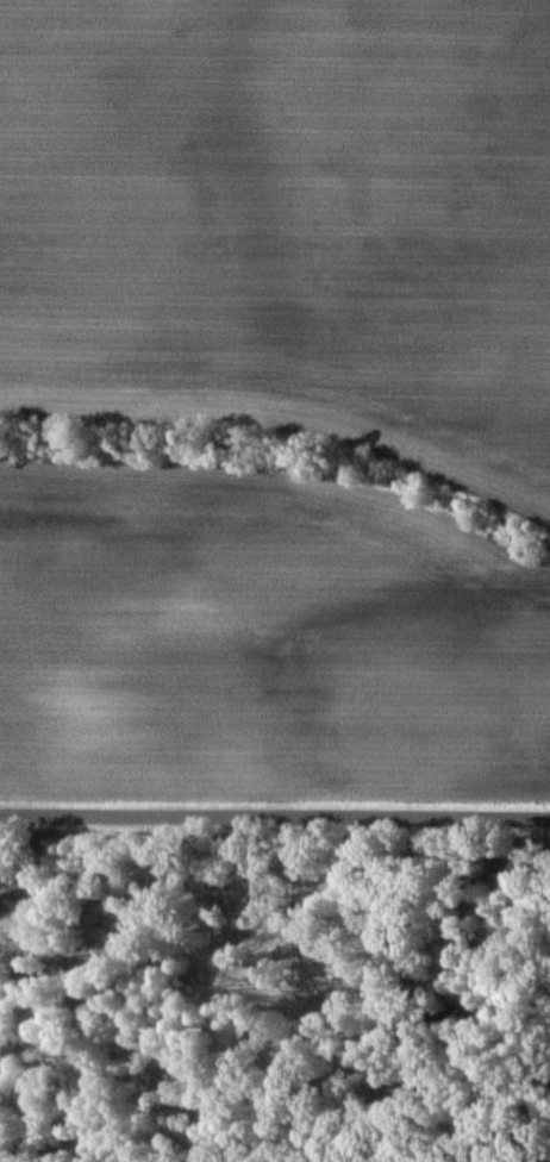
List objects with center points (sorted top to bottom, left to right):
road: (275, 812)

